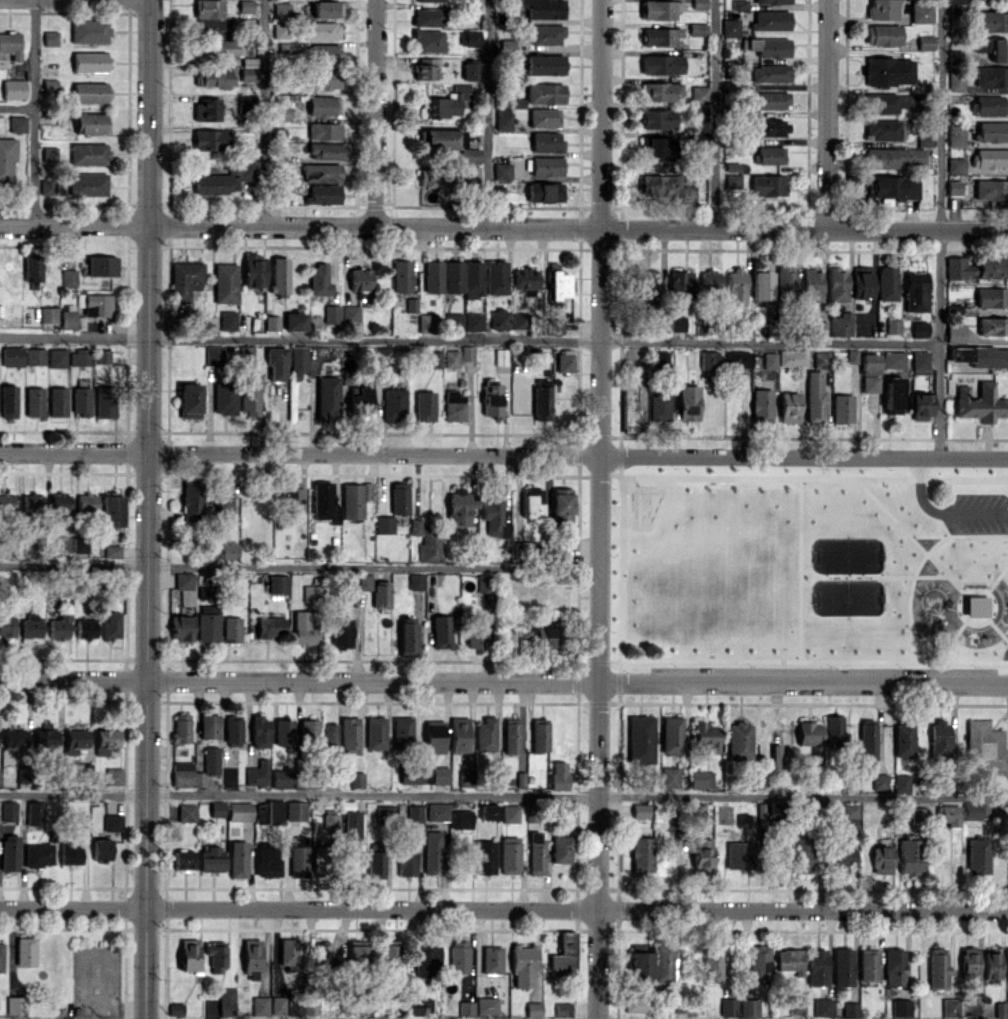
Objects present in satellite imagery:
building: (428, 0)
building: (772, 1)
building: (955, 1)
building: (699, 4)
building: (738, 4)
building: (245, 8)
building: (326, 8)
building: (543, 8)
building: (660, 9)
building: (882, 9)
building: (281, 10)
building: (921, 11)
building: (428, 16)
building: (210, 19)
building: (770, 20)
building: (991, 21)
building: (729, 27)
building: (697, 29)
building: (280, 30)
building: (320, 30)
building: (90, 31)
building: (546, 34)
building: (882, 35)
building: (660, 36)
building: (50, 38)
building: (469, 38)
building: (428, 40)
building: (925, 42)
building: (11, 44)
building: (766, 46)
building: (224, 47)
building: (286, 47)
building: (999, 50)
building: (324, 53)
building: (89, 61)
building: (545, 64)
building: (661, 64)
building: (425, 68)
building: (471, 70)
building: (888, 71)
building: (247, 73)
building: (769, 73)
building: (991, 76)
building: (212, 77)
building: (955, 78)
building: (324, 79)
building: (49, 85)
building: (13, 89)
building: (660, 91)
building: (89, 92)
building: (545, 93)
building: (699, 94)
building: (770, 100)
building: (447, 102)
building: (247, 103)
building: (881, 103)
building: (323, 105)
building: (989, 105)
road: (17, 106)
building: (207, 109)
road: (34, 112)
road: (263, 113)
building: (280, 113)
road: (376, 113)
road: (487, 113)
road: (715, 114)
road: (828, 114)
building: (544, 117)
building: (503, 119)
building: (657, 119)
building: (17, 123)
building: (90, 123)
building: (770, 127)
building: (881, 129)
building: (324, 130)
building: (992, 131)
building: (955, 134)
building: (441, 138)
building: (218, 139)
building: (547, 141)
building: (659, 146)
building: (326, 150)
building: (49, 153)
building: (89, 153)
building: (470, 155)
building: (768, 155)
building: (894, 157)
building: (7, 158)
building: (990, 158)
building: (955, 165)
building: (546, 166)
building: (502, 170)
building: (246, 171)
building: (320, 173)
building: (470, 174)
building: (436, 177)
building: (732, 180)
building: (658, 181)
building: (87, 184)
building: (212, 184)
building: (767, 184)
building: (47, 185)
building: (894, 187)
building: (953, 187)
building: (991, 189)
building: (545, 191)
building: (687, 193)
building: (323, 194)
road: (503, 227)
road: (940, 228)
building: (102, 265)
building: (992, 267)
building: (958, 268)
building: (33, 270)
building: (253, 270)
building: (402, 275)
building: (433, 276)
building: (453, 276)
building: (69, 277)
building: (496, 277)
building: (359, 279)
building: (472, 279)
building: (186, 280)
building: (319, 280)
building: (526, 280)
building: (786, 280)
building: (709, 281)
building: (225, 282)
building: (557, 282)
building: (646, 282)
building: (862, 282)
building: (886, 283)
building: (836, 284)
building: (761, 285)
building: (811, 285)
building: (735, 287)
building: (915, 291)
building: (991, 297)
building: (97, 305)
building: (350, 313)
building: (48, 314)
building: (332, 314)
building: (68, 319)
building: (227, 319)
building: (499, 319)
building: (520, 320)
building: (295, 321)
building: (473, 321)
building: (272, 322)
building: (427, 322)
building: (677, 323)
building: (840, 324)
building: (992, 325)
building: (555, 326)
building: (892, 326)
building: (818, 328)
building: (919, 328)
building: (954, 332)
road: (470, 340)
building: (467, 353)
building: (36, 355)
building: (214, 355)
building: (12, 356)
building: (102, 356)
building: (851, 356)
building: (980, 356)
building: (57, 357)
building: (79, 357)
building: (451, 358)
building: (791, 358)
building: (433, 359)
building: (708, 359)
building: (737, 359)
building: (820, 359)
building: (893, 359)
building: (769, 360)
building: (298, 361)
building: (564, 361)
building: (919, 362)
building: (276, 363)
building: (869, 363)
building: (869, 383)
building: (250, 393)
building: (891, 395)
building: (327, 397)
building: (814, 397)
building: (225, 398)
building: (360, 398)
building: (492, 399)
building: (80, 400)
building: (189, 400)
building: (8, 401)
building: (34, 401)
building: (57, 401)
building: (105, 401)
building: (541, 402)
building: (688, 402)
building: (980, 402)
building: (394, 403)
building: (424, 405)
building: (454, 405)
building: (760, 405)
building: (659, 406)
building: (920, 406)
building: (629, 407)
building: (788, 407)
building: (841, 408)
road: (504, 454)
road: (917, 490)
building: (192, 496)
building: (223, 496)
building: (399, 497)
building: (292, 499)
building: (354, 499)
building: (6, 500)
building: (86, 501)
building: (325, 502)
building: (532, 502)
road: (147, 509)
road: (599, 509)
building: (111, 510)
road: (973, 511)
building: (495, 515)
building: (384, 524)
building: (426, 541)
building: (62, 543)
building: (81, 544)
building: (30, 549)
building: (227, 549)
building: (112, 551)
road: (299, 567)
park: (810, 568)
building: (184, 580)
building: (364, 581)
building: (416, 581)
building: (482, 582)
building: (278, 584)
building: (204, 592)
building: (311, 593)
building: (381, 595)
building: (975, 606)
building: (207, 623)
building: (7, 624)
building: (111, 624)
building: (32, 625)
building: (59, 626)
building: (270, 626)
building: (86, 628)
building: (181, 628)
building: (231, 628)
building: (303, 628)
building: (440, 631)
building: (478, 632)
building: (342, 633)
building: (544, 636)
building: (407, 638)
road: (504, 680)
building: (209, 726)
building: (181, 728)
building: (833, 728)
building: (308, 730)
building: (233, 731)
building: (260, 731)
building: (283, 732)
building: (375, 732)
building: (402, 732)
building: (808, 733)
building: (459, 734)
building: (485, 734)
building: (539, 734)
building: (349, 735)
building: (671, 735)
building: (330, 736)
building: (434, 736)
building: (511, 736)
building: (705, 736)
building: (15, 737)
building: (45, 737)
building: (640, 739)
building: (867, 739)
building: (903, 739)
building: (939, 739)
building: (75, 740)
building: (106, 740)
building: (739, 740)
building: (985, 748)
building: (775, 755)
building: (211, 760)
building: (182, 773)
building: (257, 773)
building: (0, 774)
building: (440, 775)
building: (559, 775)
building: (410, 776)
building: (670, 776)
building: (281, 777)
building: (114, 778)
building: (465, 778)
building: (356, 779)
building: (701, 779)
building: (901, 783)
road: (503, 796)
building: (217, 808)
building: (295, 810)
building: (641, 810)
building: (9, 811)
building: (239, 811)
building: (269, 811)
building: (437, 811)
building: (489, 811)
building: (971, 811)
building: (35, 812)
building: (187, 812)
building: (510, 813)
building: (850, 813)
building: (918, 813)
building: (949, 814)
building: (413, 815)
building: (330, 819)
building: (460, 819)
building: (81, 821)
building: (113, 822)
building: (352, 824)
building: (561, 849)
building: (102, 850)
building: (432, 851)
building: (10, 853)
building: (71, 853)
building: (642, 853)
building: (38, 854)
building: (536, 854)
building: (804, 854)
building: (510, 855)
building: (977, 855)
building: (484, 856)
building: (909, 856)
building: (299, 857)
building: (211, 858)
building: (238, 858)
building: (840, 858)
building: (184, 859)
building: (702, 859)
building: (737, 859)
building: (881, 859)
building: (267, 861)
building: (321, 861)
building: (406, 861)
building: (375, 864)
road: (503, 908)
building: (26, 951)
building: (356, 953)
building: (188, 954)
building: (216, 954)
building: (288, 954)
building: (321, 955)
building: (458, 955)
building: (564, 955)
building: (1, 956)
building: (391, 956)
building: (252, 958)
building: (492, 959)
building: (789, 960)
building: (425, 961)
building: (640, 961)
building: (758, 961)
building: (664, 962)
building: (713, 962)
building: (969, 962)
building: (1006, 963)
building: (868, 964)
building: (991, 964)
building: (523, 965)
building: (842, 966)
building: (817, 967)
building: (893, 967)
building: (937, 968)
building: (227, 1001)
building: (796, 1001)
building: (638, 1003)
building: (16, 1005)
building: (260, 1005)
building: (278, 1005)
building: (486, 1005)
building: (416, 1006)
building: (310, 1007)
building: (466, 1007)
building: (728, 1007)
building: (822, 1007)
building: (900, 1007)
building: (950, 1007)
building: (294, 1008)
building: (749, 1008)
building: (849, 1008)
building: (1006, 1008)
building: (534, 1009)
building: (563, 1009)
building: (1000, 1009)

